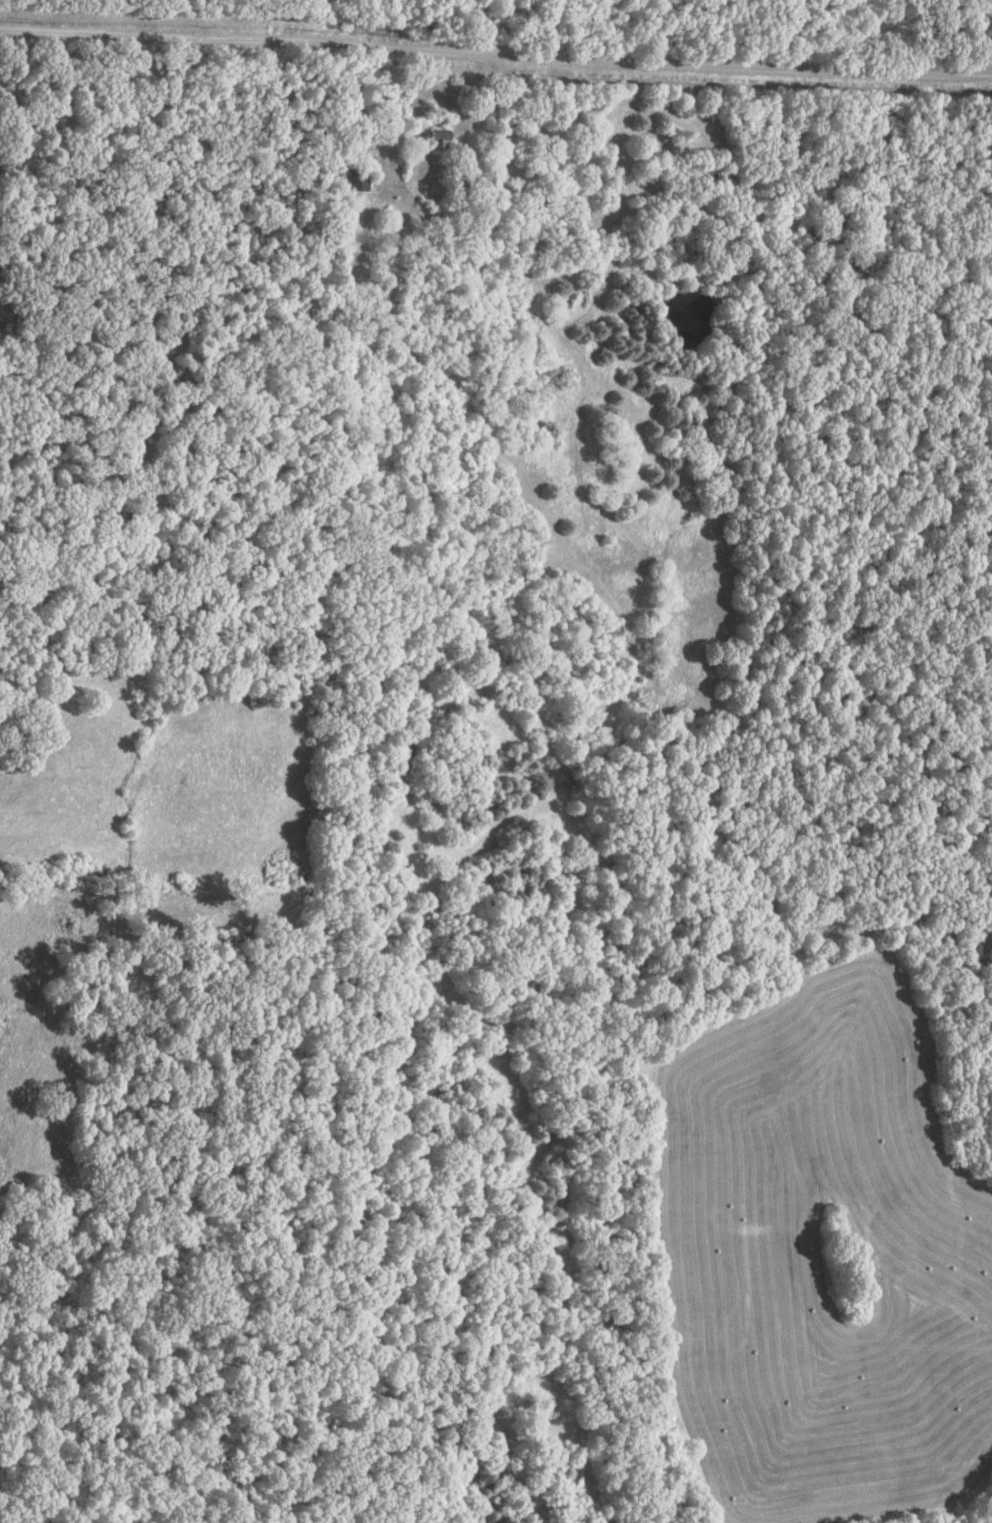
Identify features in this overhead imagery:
building: (989, 3)
road: (495, 60)
building: (434, 139)

